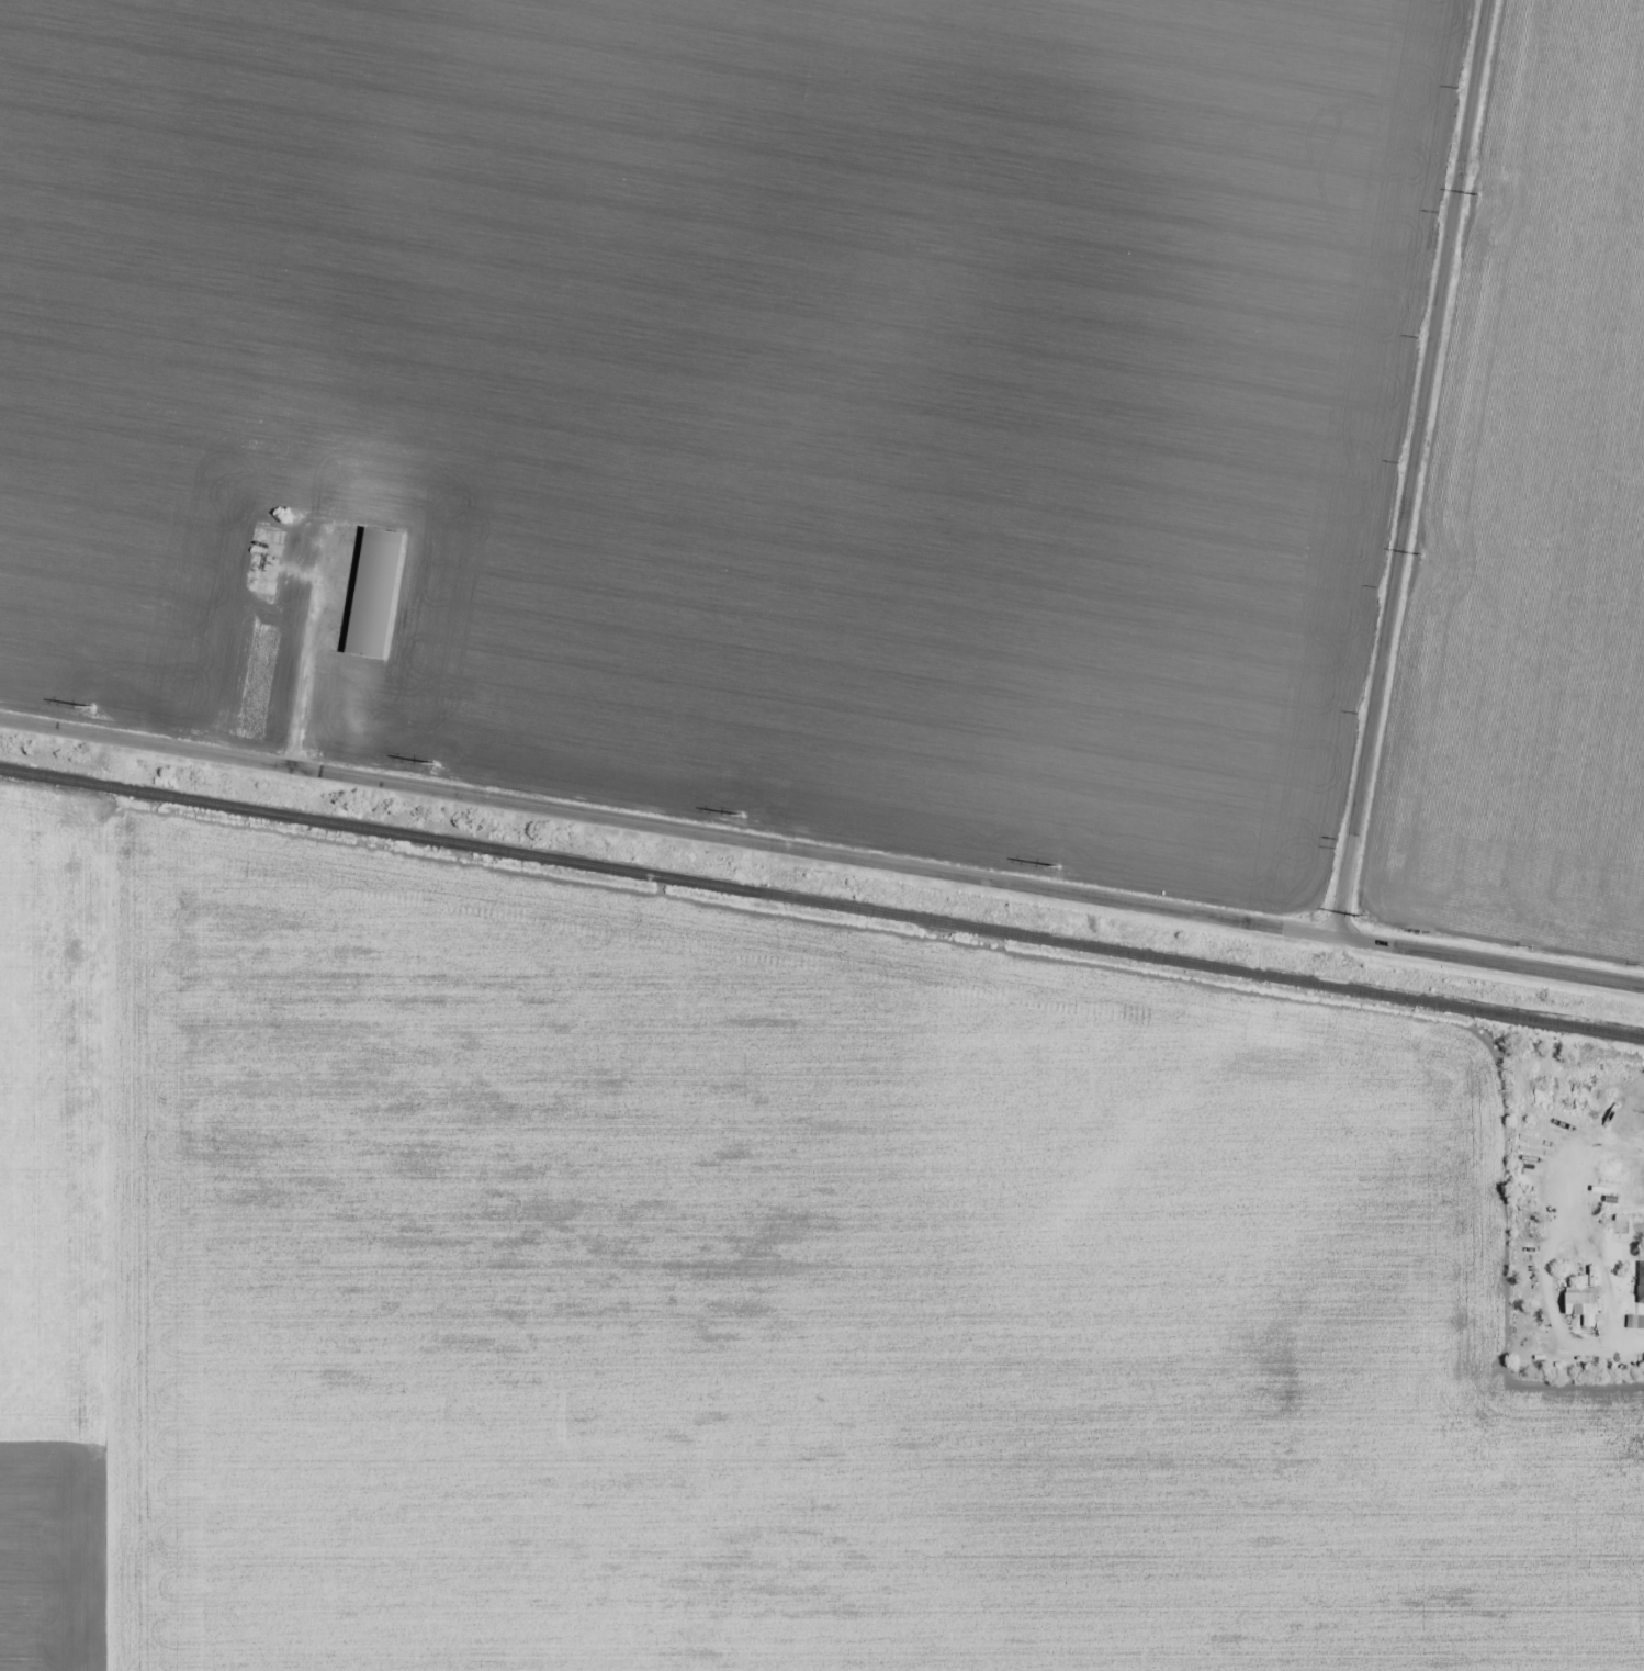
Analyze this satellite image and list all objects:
power tower: (1474, 198)
road: (1410, 468)
crop: (1533, 518)
building: (259, 562)
power tower: (1415, 562)
building: (348, 595)
building: (338, 642)
power tower: (94, 708)
power tower: (429, 764)
power tower: (736, 814)
road: (822, 852)
power tower: (1046, 864)
railway: (821, 902)
power tower: (1365, 909)
building: (1641, 1285)
building: (1581, 1305)
building: (1637, 1323)
building: (1643, 1362)

